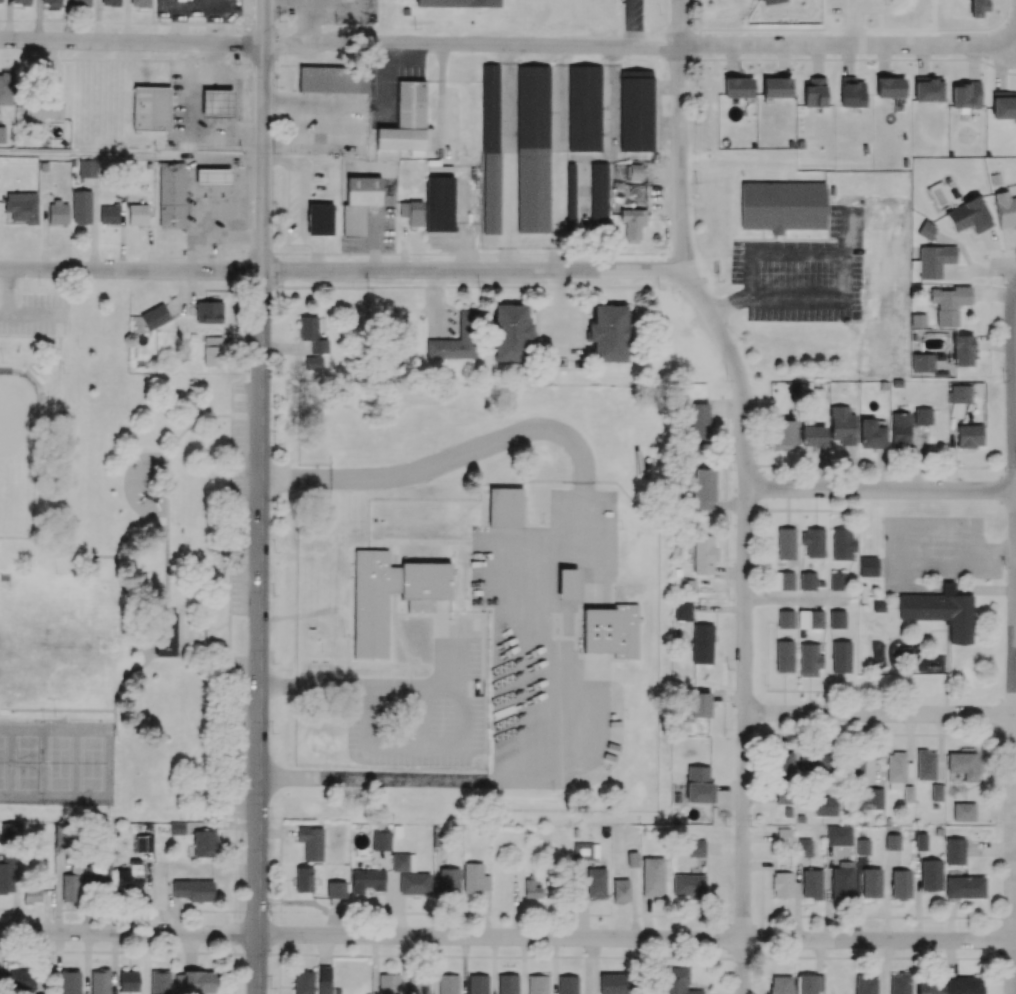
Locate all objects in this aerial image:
road: (267, 1)
road: (308, 18)
road: (854, 21)
road: (131, 42)
road: (850, 42)
road: (471, 45)
road: (199, 116)
road: (298, 120)
road: (263, 135)
road: (131, 156)
building: (212, 175)
building: (171, 193)
building: (108, 213)
building: (137, 213)
road: (840, 270)
road: (131, 271)
road: (475, 271)
building: (154, 316)
road: (1014, 389)
park: (16, 458)
road: (880, 489)
road: (745, 490)
park: (123, 566)
road: (260, 632)
building: (165, 634)
park: (53, 644)
road: (881, 714)
park: (3, 763)
park: (61, 763)
park: (27, 764)
park: (93, 764)
road: (498, 780)
road: (1012, 818)
road: (221, 824)
road: (276, 832)
road: (147, 892)
road: (172, 908)
road: (129, 932)
road: (636, 937)
road: (324, 950)
road: (56, 963)
road: (87, 963)
road: (114, 963)
road: (493, 964)
road: (434, 965)
road: (464, 965)
road: (523, 965)
road: (554, 965)

